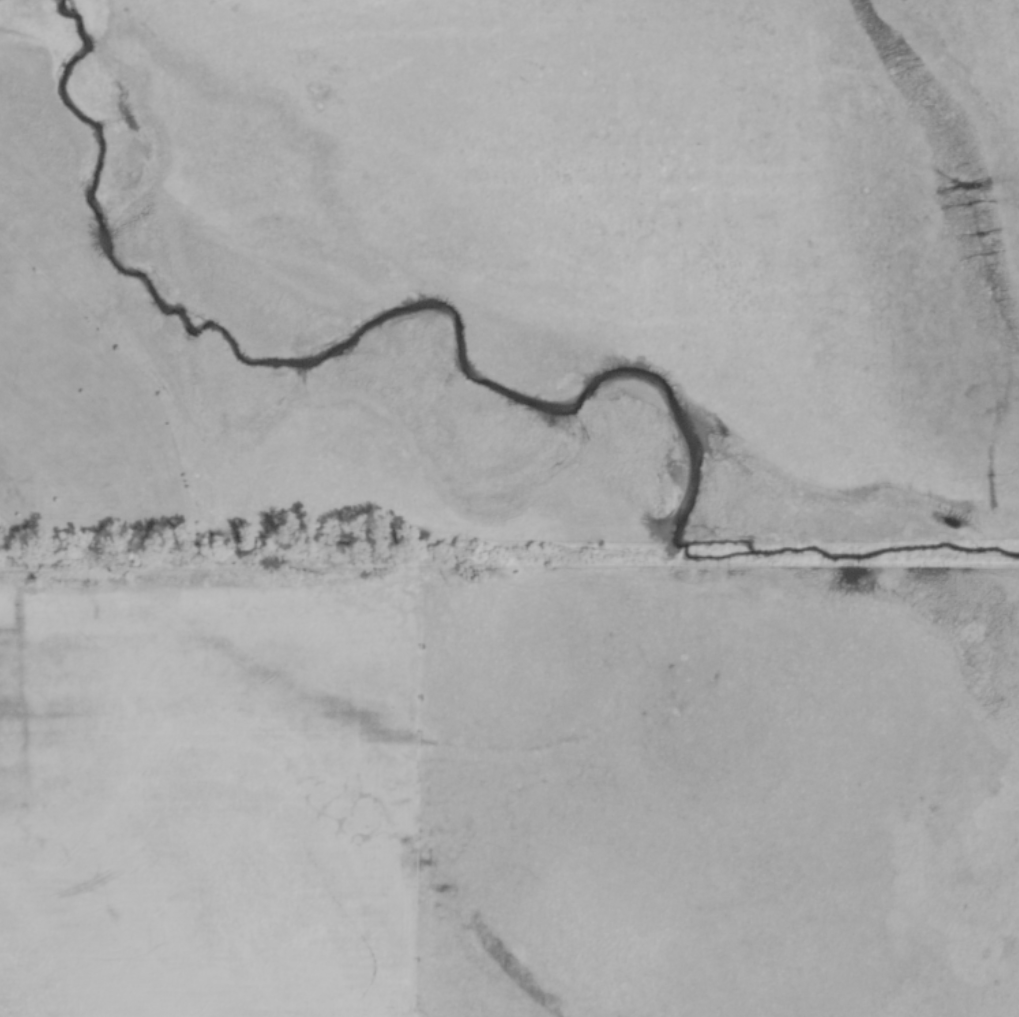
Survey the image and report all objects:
river: (450, 326)

